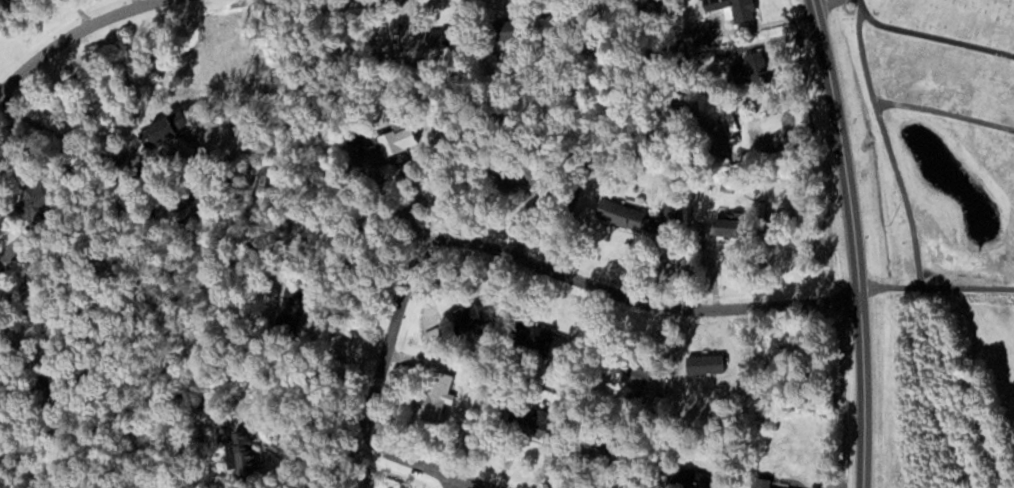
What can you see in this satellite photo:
building: (731, 10)
park: (939, 21)
building: (497, 31)
road: (73, 32)
road: (932, 32)
building: (700, 34)
building: (741, 72)
building: (731, 117)
building: (157, 128)
building: (382, 139)
road: (23, 158)
building: (29, 203)
building: (623, 215)
building: (724, 226)
road: (851, 242)
road: (510, 246)
building: (464, 319)
building: (534, 337)
building: (437, 394)
building: (525, 422)
building: (595, 451)
building: (691, 479)
building: (762, 483)

